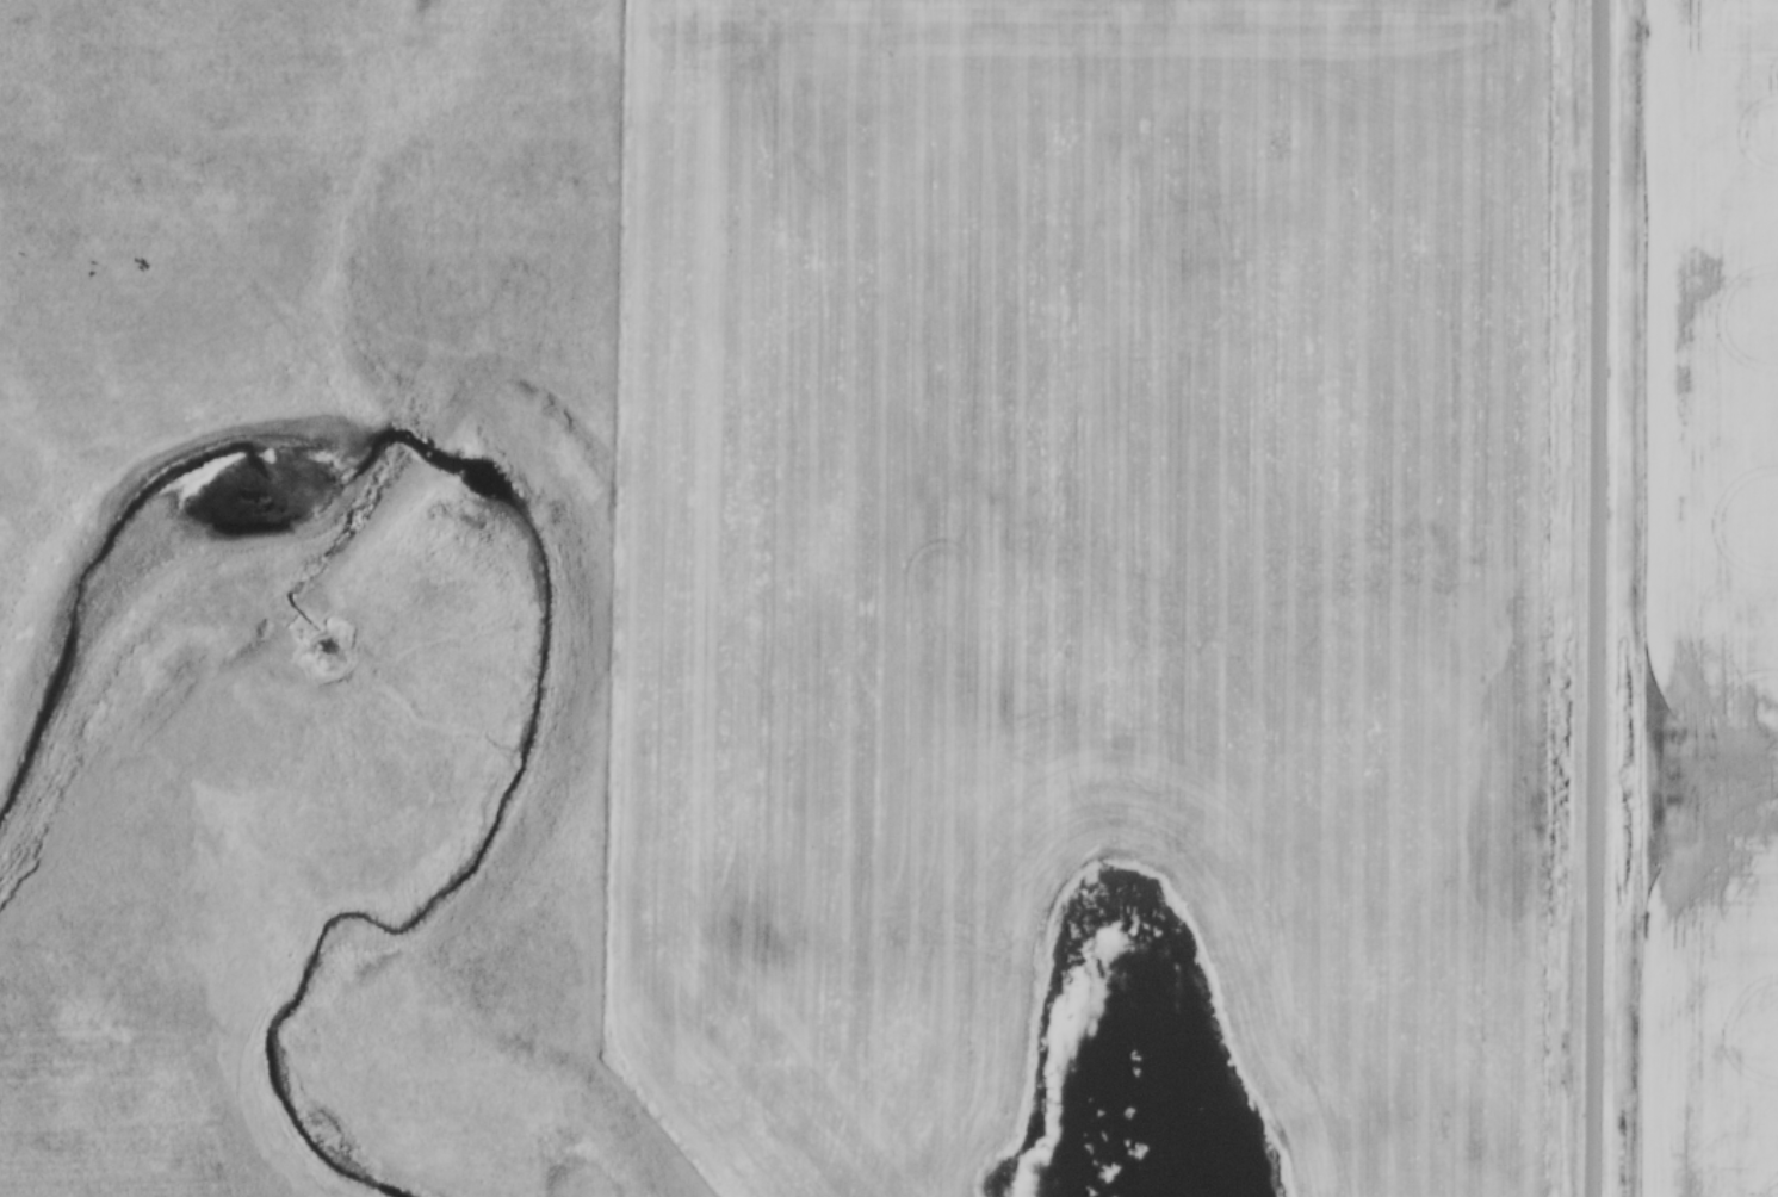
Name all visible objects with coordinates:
road: (1599, 598)

